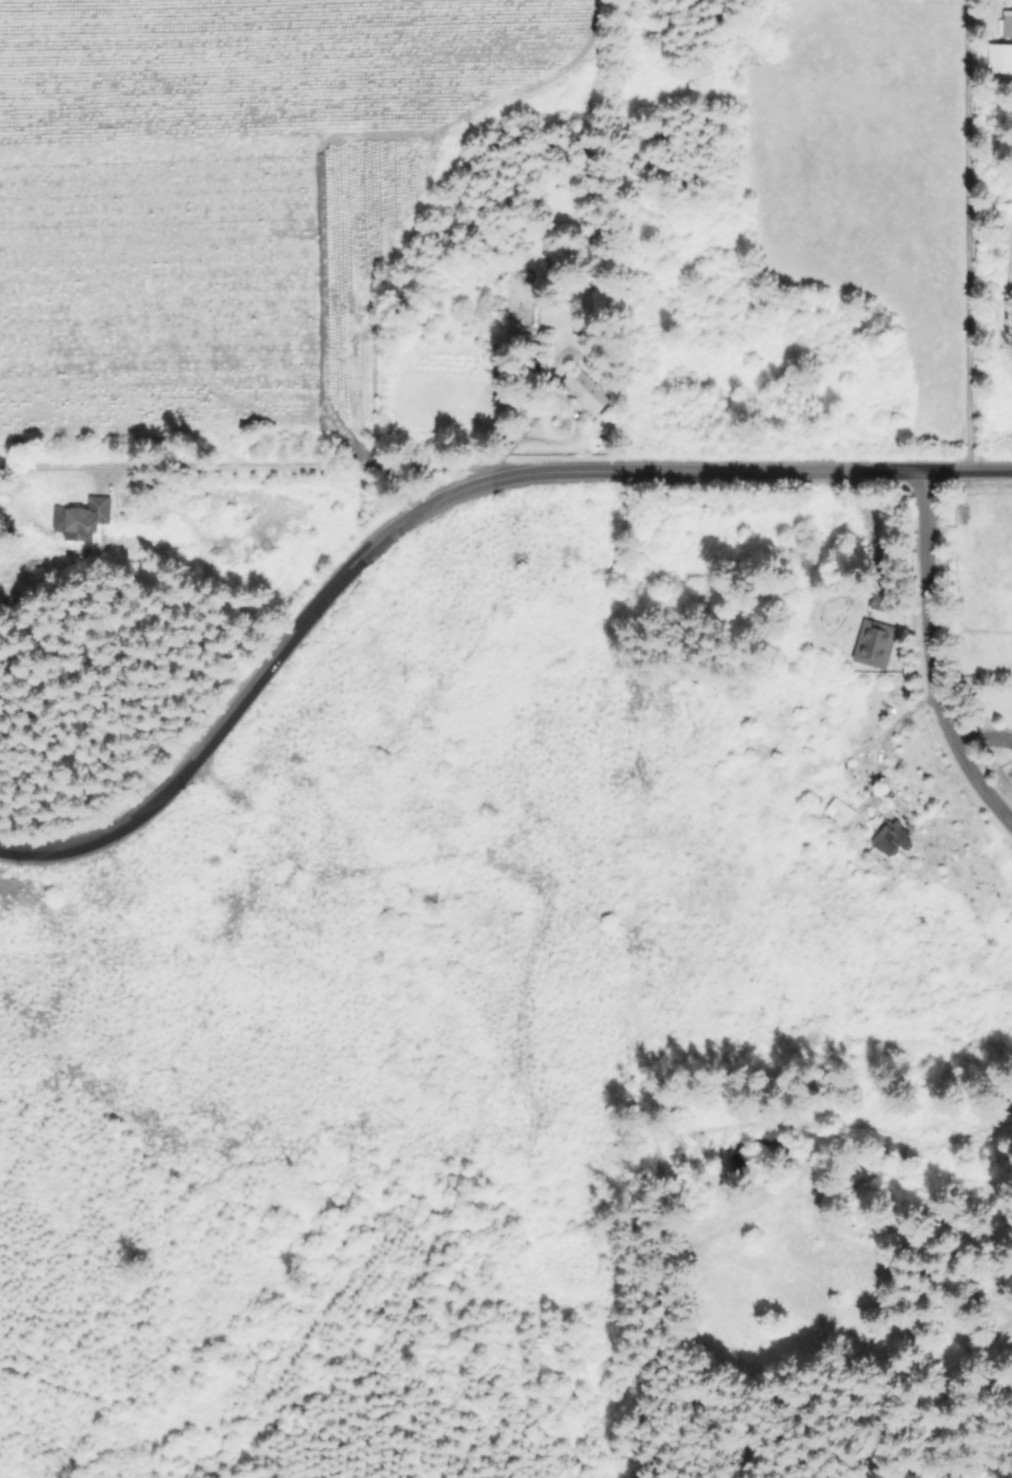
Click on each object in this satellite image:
building: (1006, 25)
road: (964, 234)
road: (1006, 280)
building: (581, 394)
road: (564, 442)
road: (248, 467)
road: (436, 498)
building: (80, 520)
building: (872, 644)
road: (930, 657)
road: (874, 726)
building: (888, 834)

